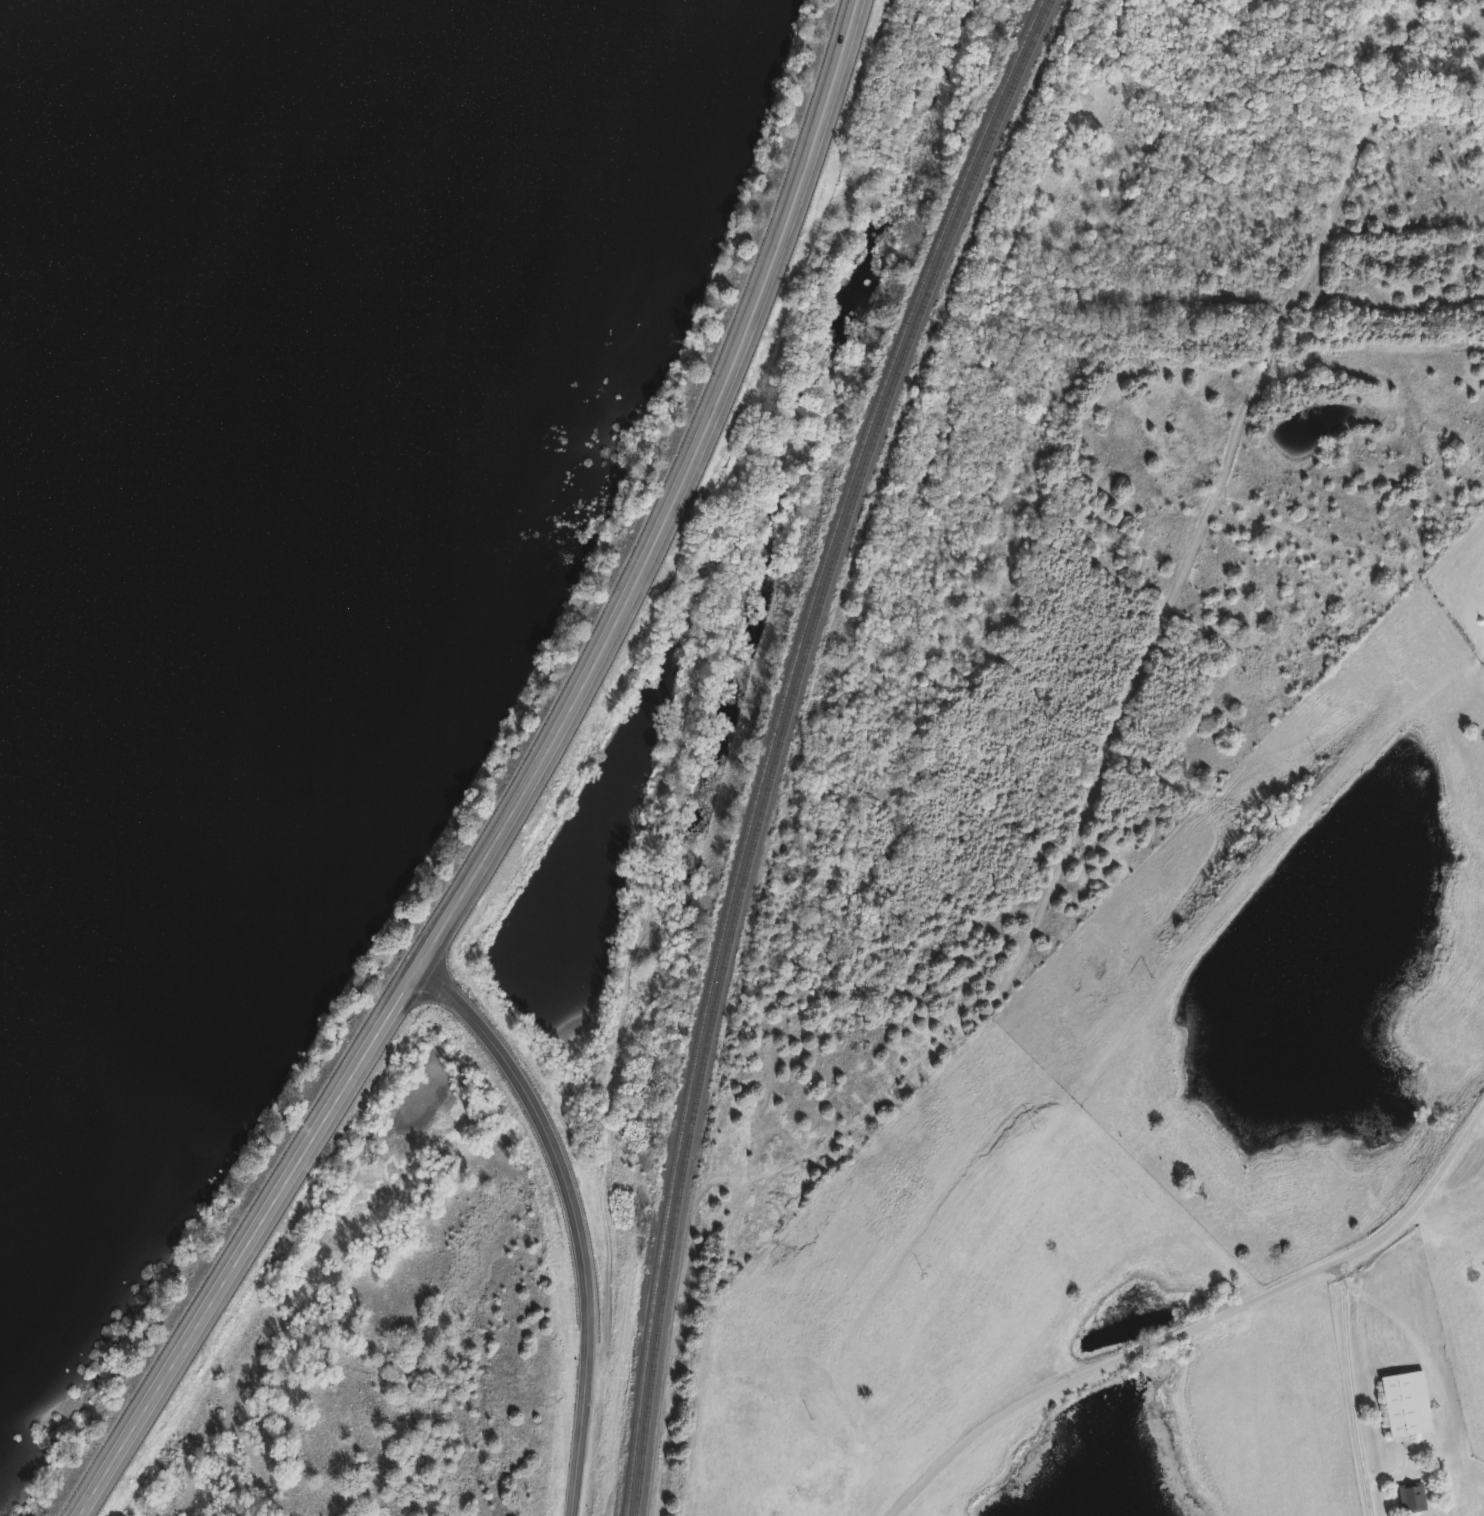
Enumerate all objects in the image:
railway: (772, 740)
railway: (779, 740)
road: (526, 785)
road: (575, 1216)
road: (1200, 1321)
road: (1352, 1390)
building: (1406, 1404)
building: (1411, 1498)

